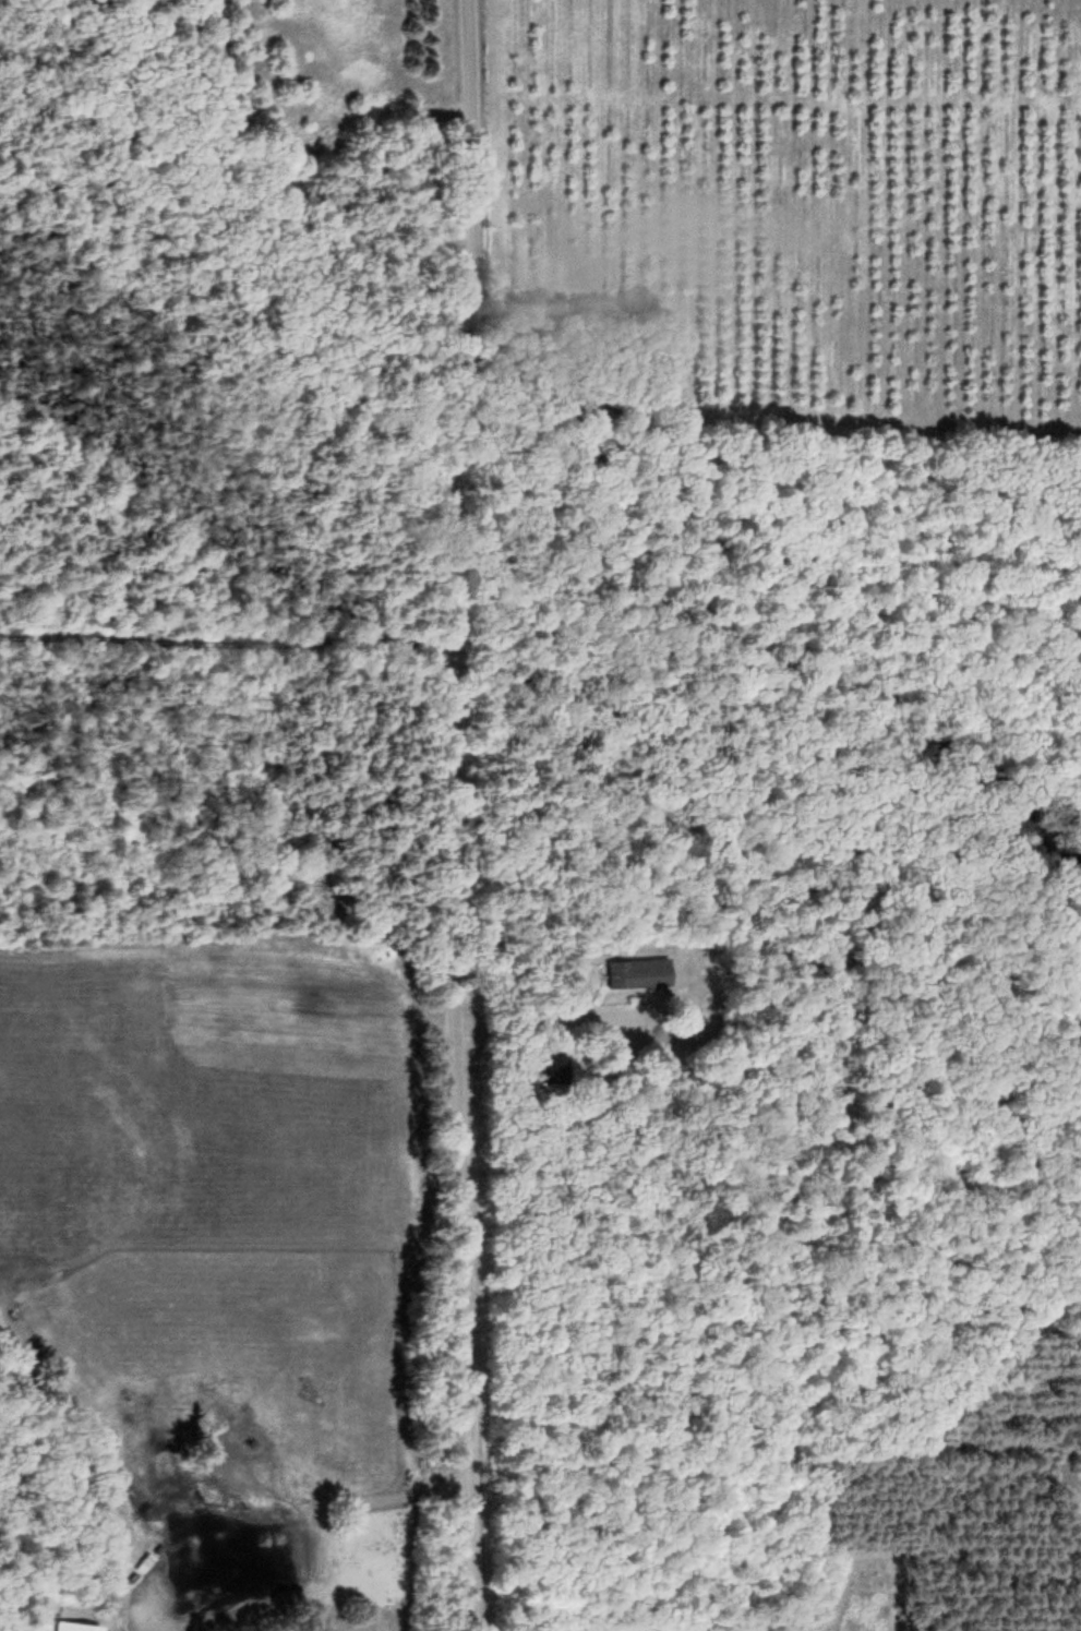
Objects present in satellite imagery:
road: (203, 53)
road: (278, 112)
parking lot: (430, 117)
road: (437, 120)
road: (249, 191)
park: (231, 328)
road: (224, 639)
road: (449, 815)
building: (640, 972)
building: (146, 1560)
building: (87, 1626)

